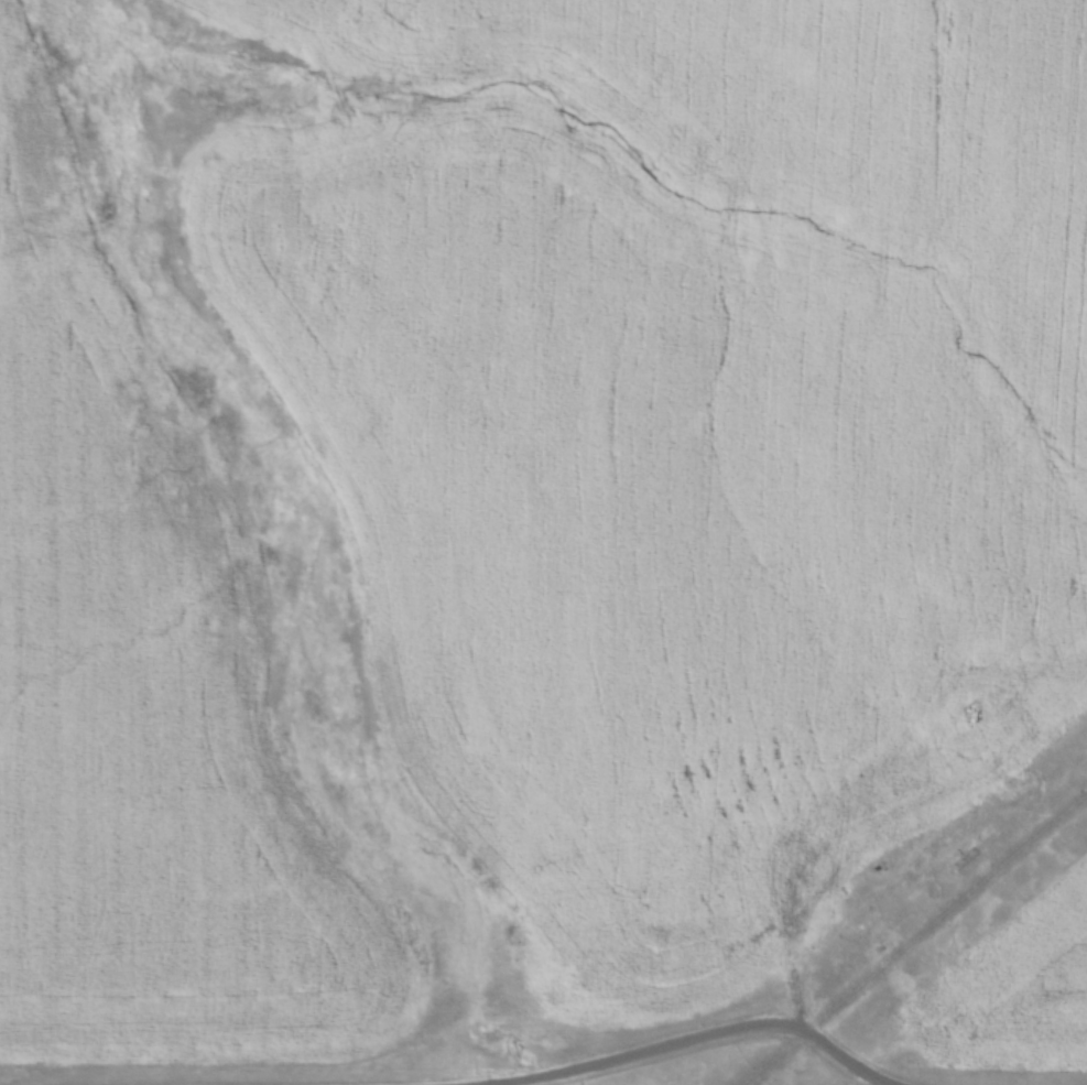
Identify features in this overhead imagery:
railway: (912, 944)
road: (697, 1040)

